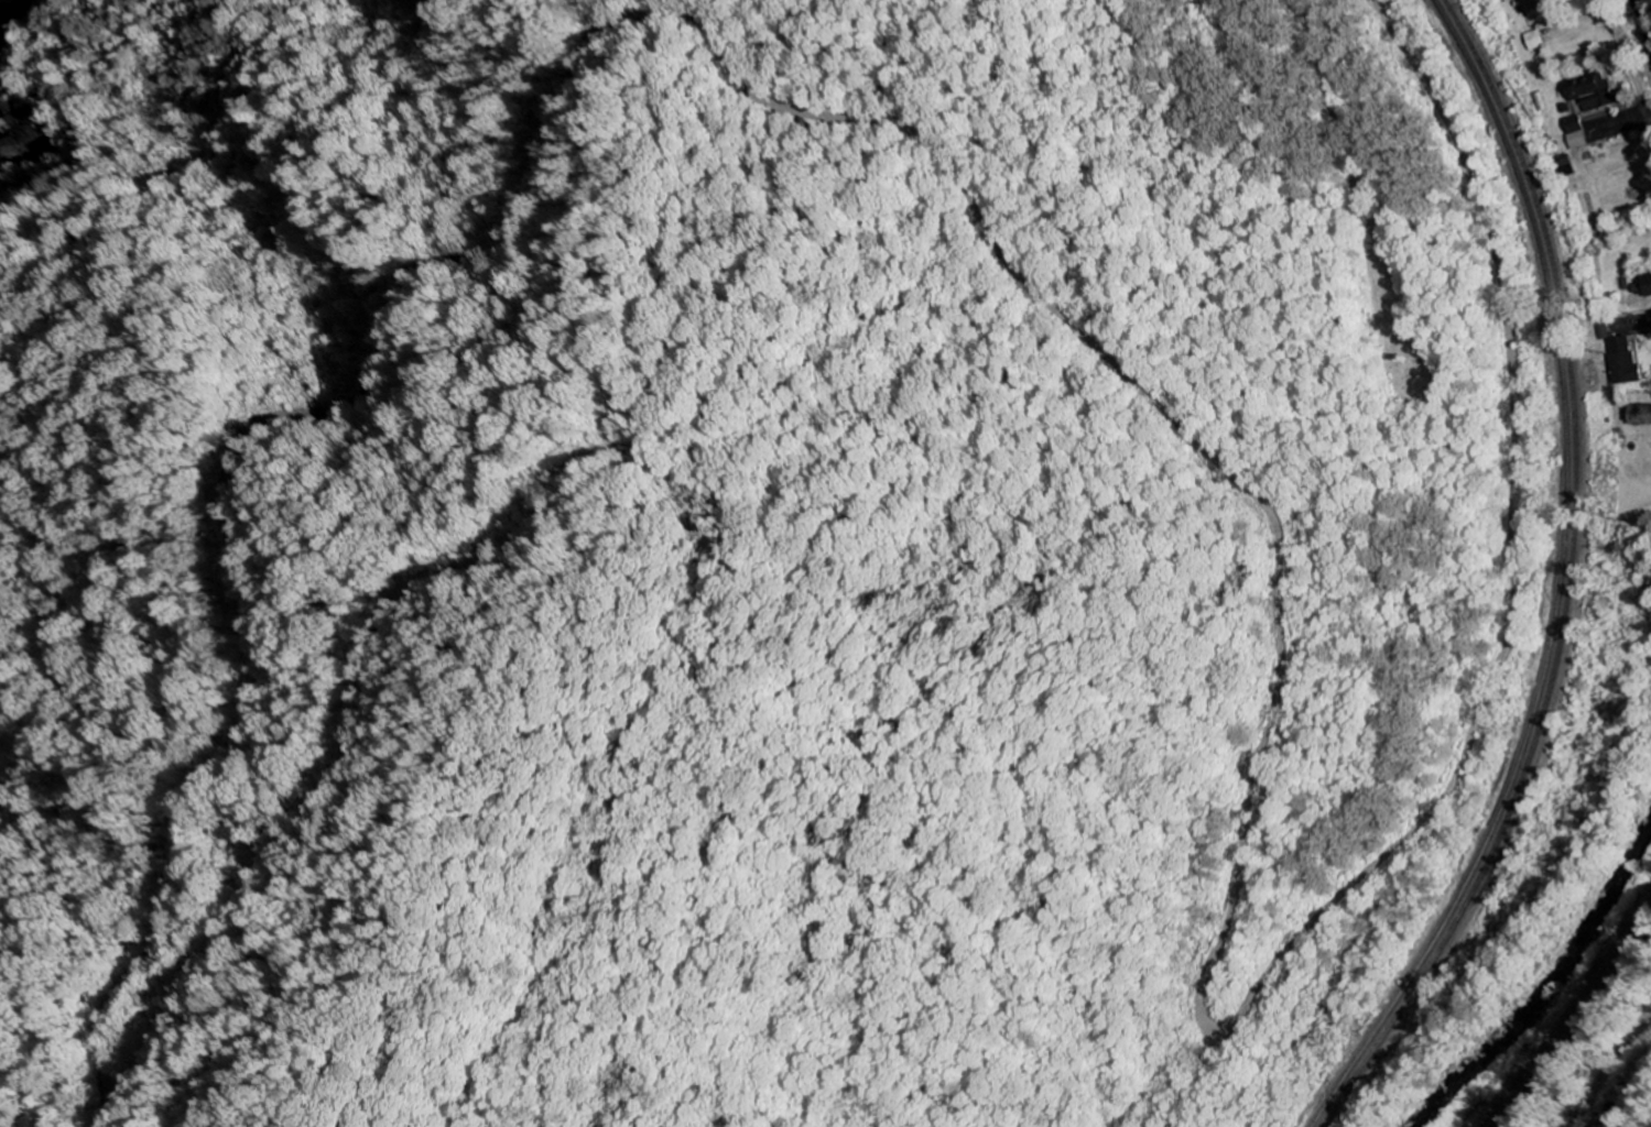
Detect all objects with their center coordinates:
building: (1532, 6)
building: (1590, 92)
building: (1574, 133)
road: (1649, 136)
building: (1642, 287)
building: (1625, 361)
building: (1639, 416)
railway: (1560, 580)
road: (1568, 1019)
road: (1608, 1069)

